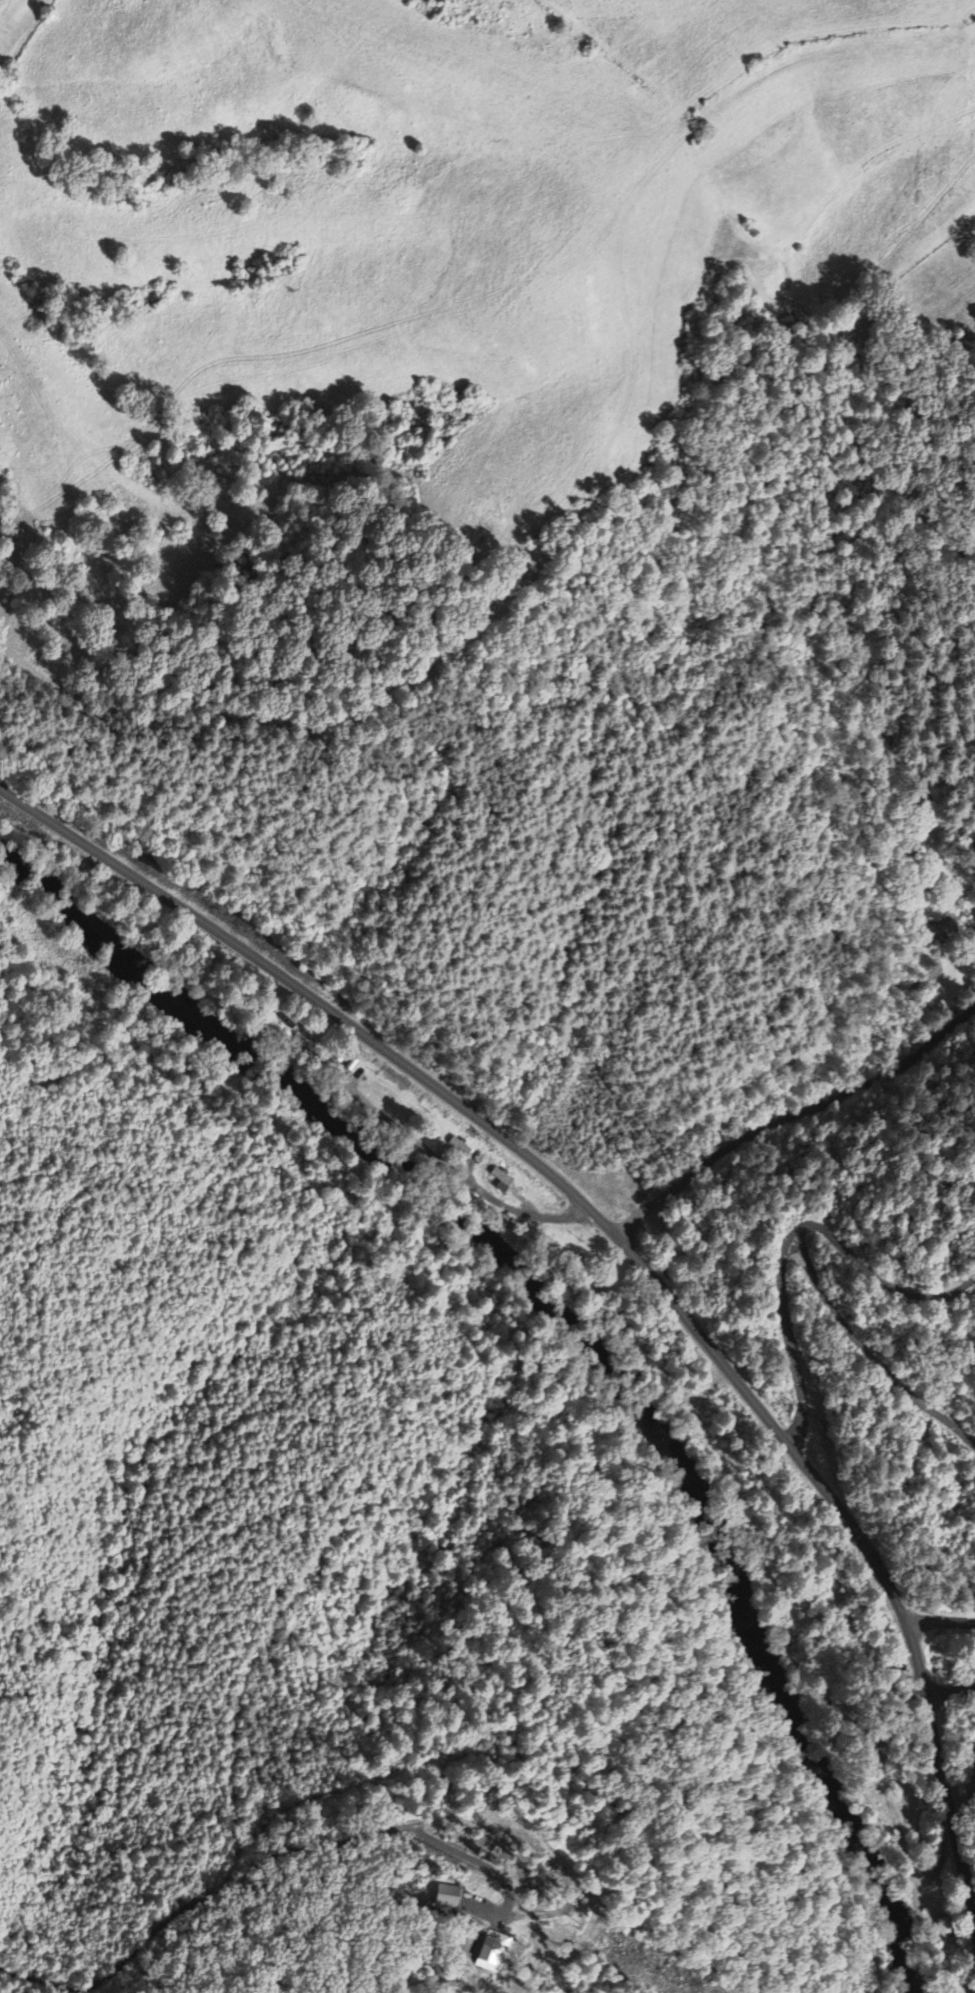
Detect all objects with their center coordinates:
road: (2, 4)
building: (946, 932)
road: (792, 1114)
building: (459, 1147)
building: (500, 1181)
road: (629, 1248)
road: (939, 1619)
road: (950, 1689)
building: (445, 1896)
building: (491, 1952)

